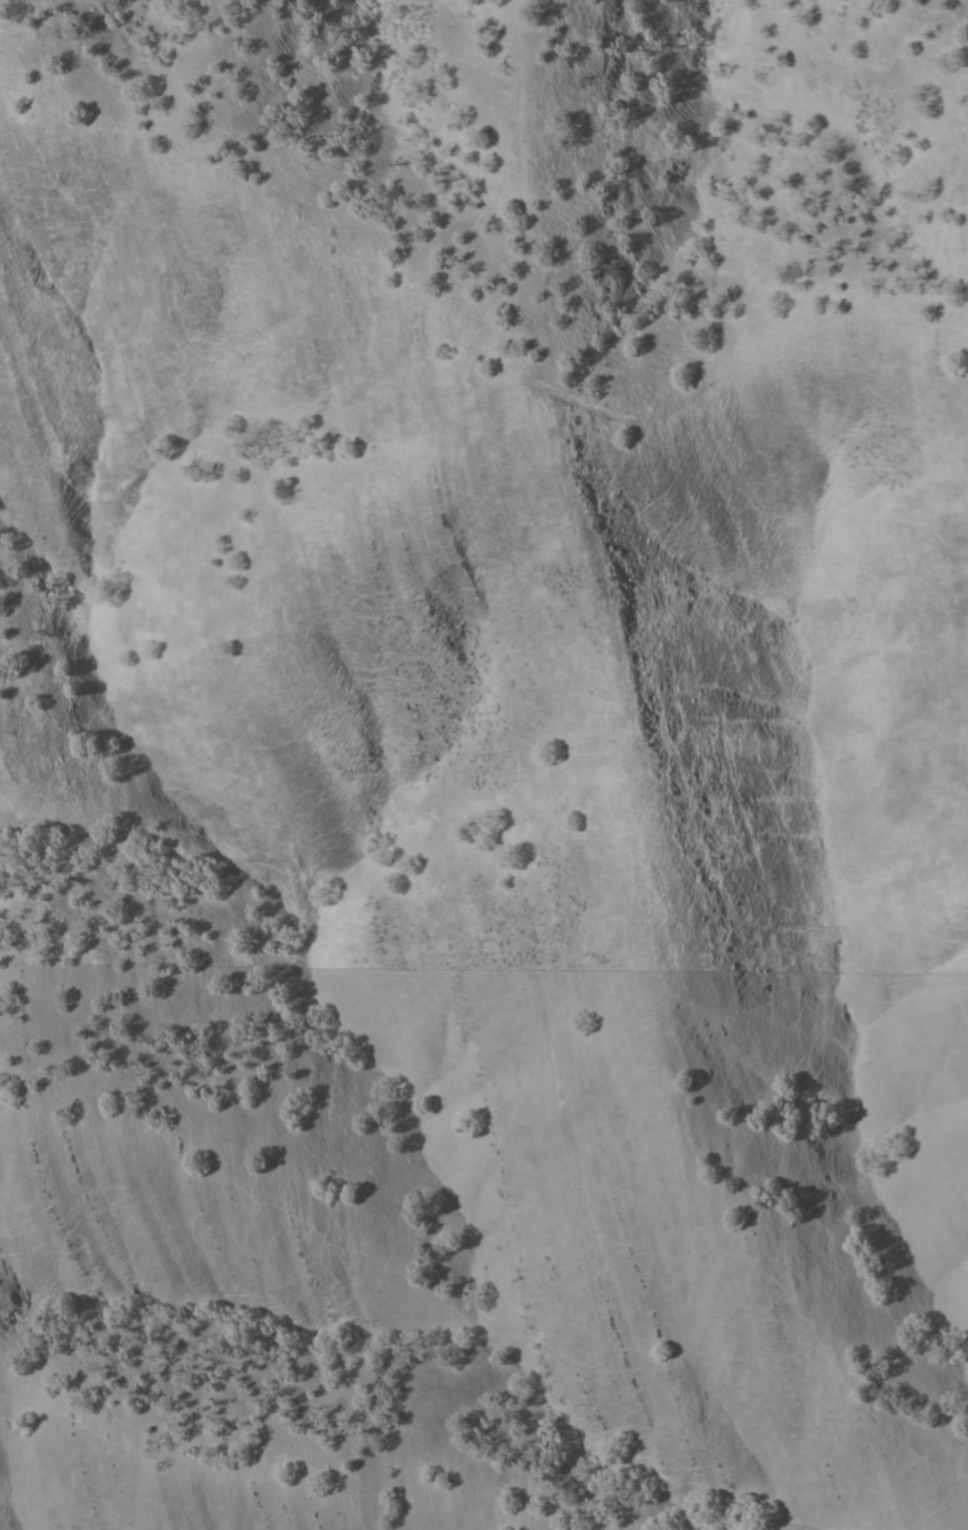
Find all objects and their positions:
road: (867, 1417)

